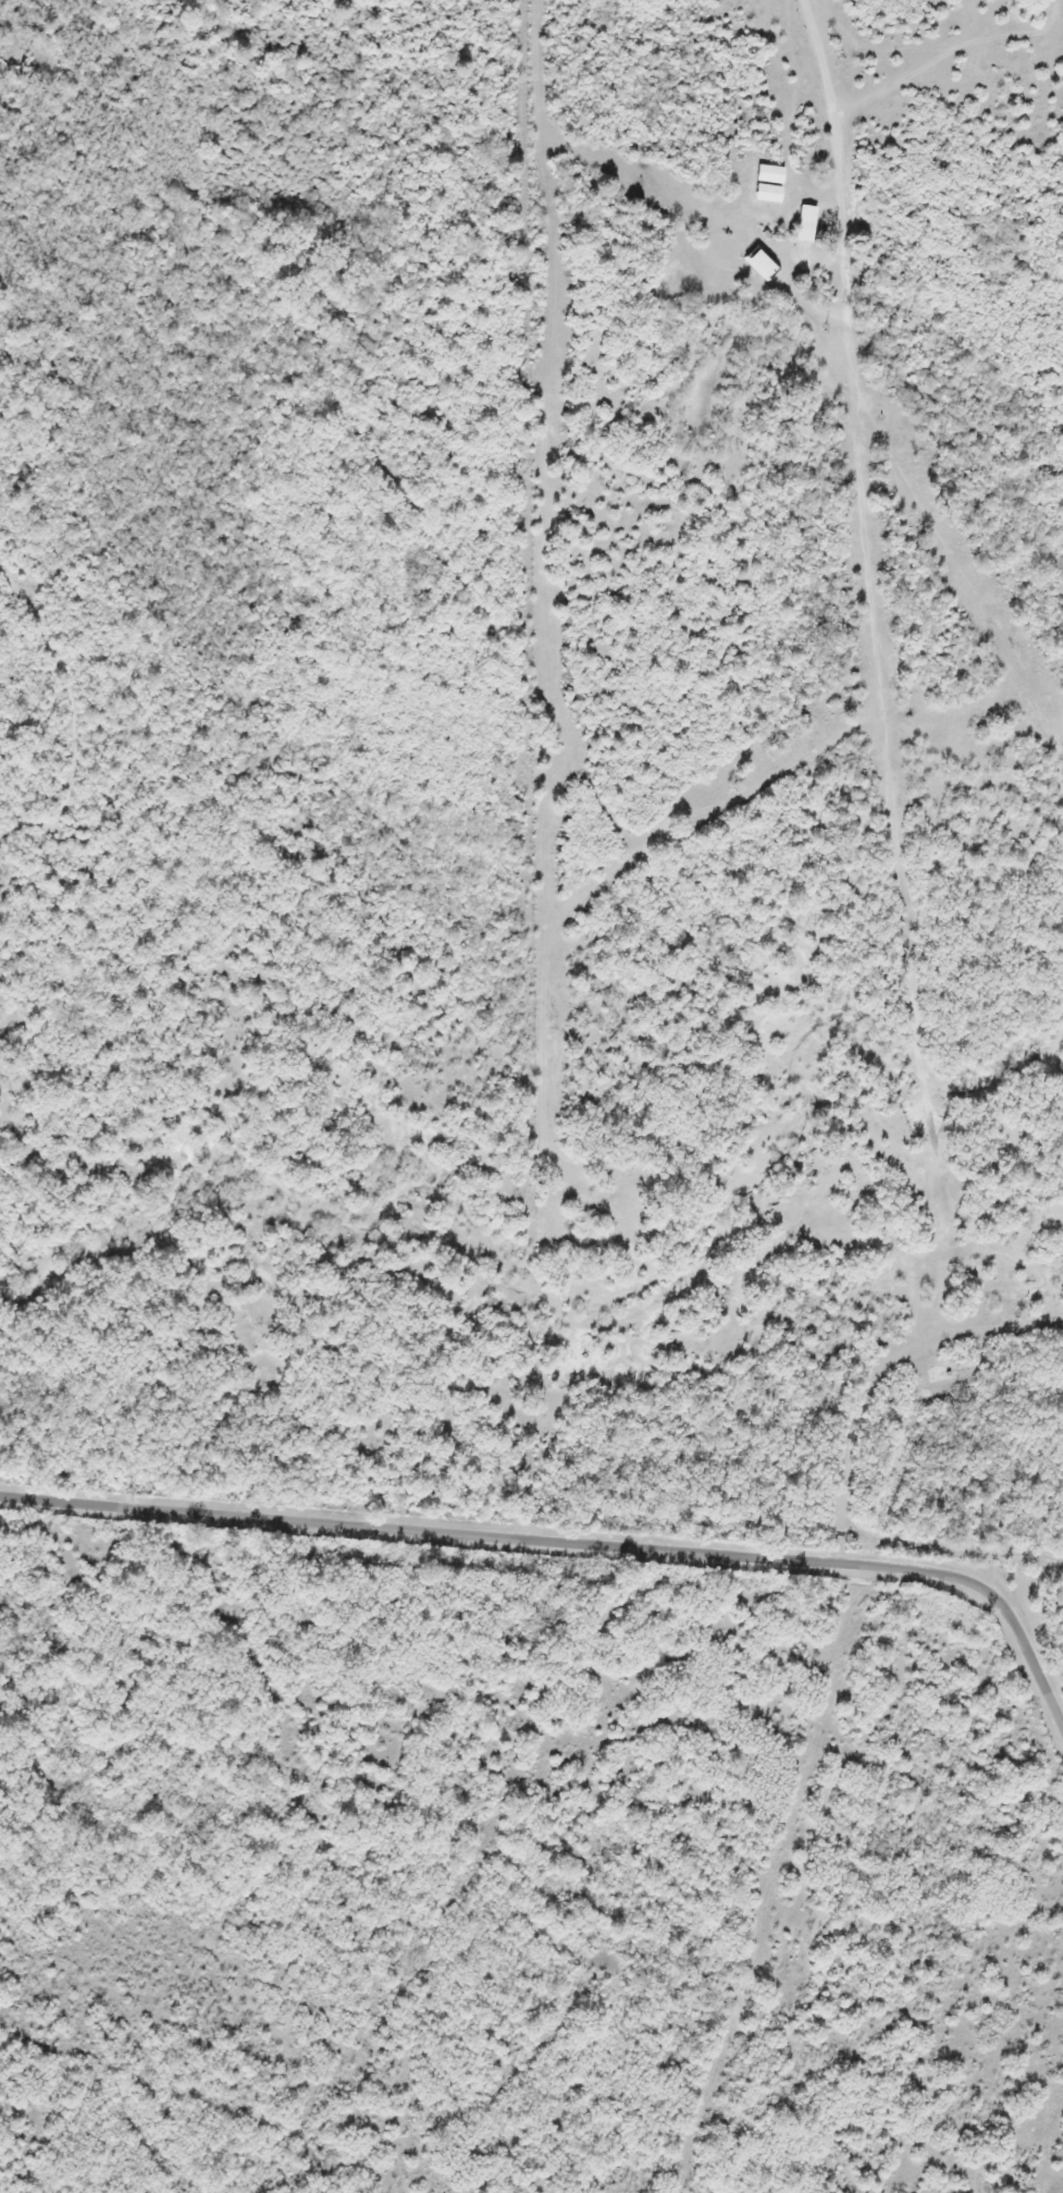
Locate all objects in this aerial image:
building: (764, 264)
road: (565, 1540)

